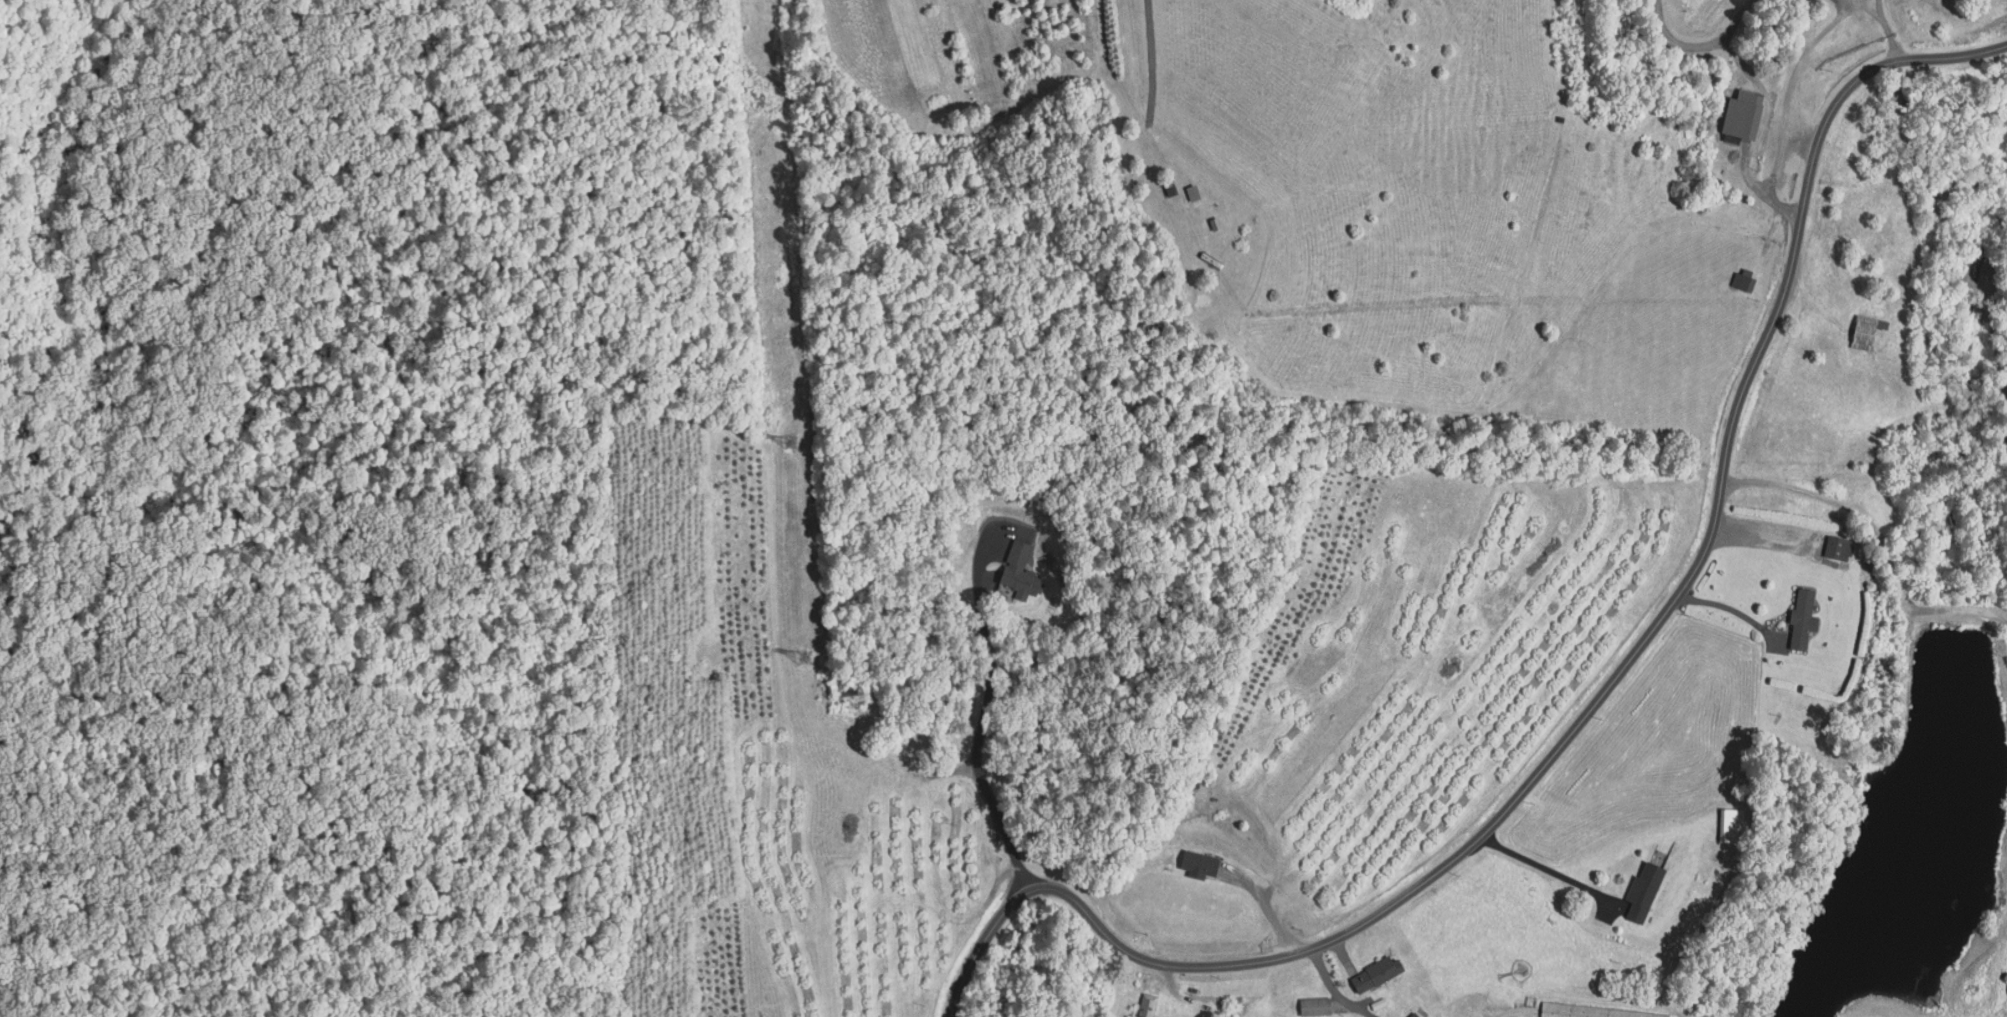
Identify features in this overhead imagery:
road: (1881, 9)
road: (1793, 76)
building: (1739, 119)
building: (1196, 194)
road: (1937, 274)
building: (1864, 334)
power tower: (787, 439)
road: (1873, 543)
building: (1837, 548)
building: (1017, 571)
road: (1724, 615)
building: (1802, 620)
power tower: (802, 657)
road: (1596, 706)
road: (983, 713)
building: (1725, 826)
building: (1200, 864)
road: (1544, 867)
building: (1642, 893)
building: (1376, 975)
road: (1335, 989)
building: (1147, 1005)
building: (1315, 1007)
building: (1586, 1012)

